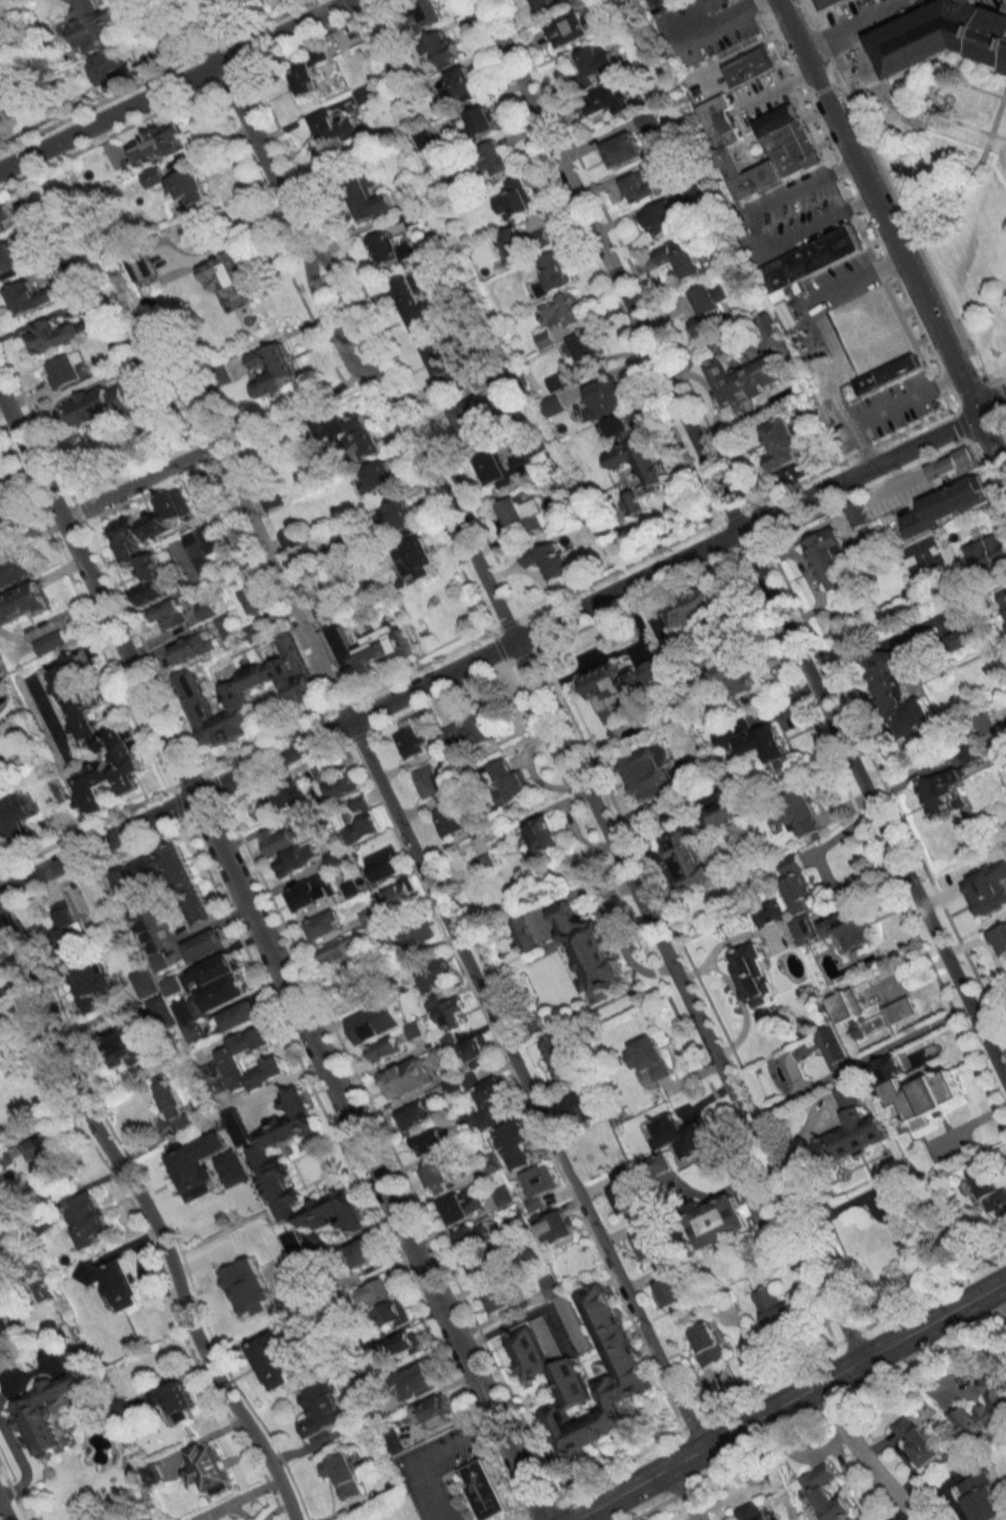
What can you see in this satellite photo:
building: (972, 0)
building: (831, 2)
building: (275, 4)
building: (545, 4)
building: (716, 4)
building: (428, 12)
road: (701, 15)
road: (726, 22)
road: (850, 24)
building: (92, 25)
building: (574, 27)
building: (942, 33)
building: (443, 47)
road: (744, 49)
building: (593, 64)
building: (748, 66)
building: (109, 67)
building: (306, 71)
road: (175, 84)
building: (460, 86)
road: (774, 91)
building: (367, 93)
building: (615, 98)
building: (481, 121)
building: (647, 121)
building: (333, 127)
building: (155, 142)
building: (623, 149)
building: (793, 153)
building: (494, 158)
building: (394, 171)
building: (152, 177)
building: (638, 186)
building: (188, 188)
road: (889, 191)
building: (368, 198)
building: (514, 199)
building: (3, 216)
building: (412, 219)
building: (660, 219)
road: (759, 223)
road: (892, 238)
building: (524, 242)
building: (390, 249)
building: (12, 257)
building: (684, 258)
building: (808, 261)
building: (553, 273)
building: (231, 275)
building: (29, 297)
building: (414, 302)
building: (706, 309)
building: (565, 310)
building: (772, 323)
building: (52, 335)
road: (826, 335)
building: (586, 346)
building: (874, 350)
building: (442, 363)
building: (272, 369)
building: (67, 370)
road: (996, 375)
building: (745, 379)
road: (998, 389)
building: (605, 397)
road: (990, 401)
building: (99, 403)
road: (1003, 417)
building: (470, 422)
building: (363, 438)
building: (780, 444)
building: (634, 460)
building: (520, 461)
building: (952, 465)
building: (494, 471)
building: (376, 479)
road: (126, 488)
building: (271, 498)
building: (947, 504)
building: (521, 513)
building: (398, 520)
building: (4, 532)
building: (289, 538)
road: (742, 542)
building: (127, 545)
building: (201, 549)
building: (842, 549)
building: (987, 551)
building: (417, 558)
building: (552, 560)
building: (15, 570)
road: (278, 578)
building: (314, 592)
building: (254, 599)
building: (22, 603)
building: (1004, 604)
building: (697, 607)
building: (208, 609)
building: (168, 615)
building: (228, 625)
building: (254, 632)
building: (964, 637)
building: (50, 642)
building: (192, 648)
building: (366, 650)
road: (488, 653)
building: (664, 666)
road: (529, 675)
building: (735, 677)
building: (612, 689)
building: (301, 690)
building: (898, 696)
building: (53, 716)
building: (92, 730)
building: (468, 732)
building: (411, 741)
building: (756, 743)
building: (973, 750)
building: (1, 764)
building: (322, 772)
building: (648, 774)
building: (430, 782)
building: (510, 783)
building: (343, 787)
building: (945, 793)
building: (290, 795)
building: (718, 812)
building: (801, 812)
building: (14, 817)
building: (448, 820)
building: (362, 822)
building: (543, 835)
building: (276, 841)
building: (490, 846)
building: (334, 856)
building: (296, 859)
building: (687, 859)
building: (470, 862)
building: (384, 864)
building: (158, 871)
building: (797, 885)
building: (987, 887)
building: (310, 893)
building: (400, 894)
building: (200, 911)
building: (770, 913)
building: (368, 916)
building: (67, 923)
building: (324, 925)
building: (849, 928)
building: (805, 931)
building: (417, 932)
building: (523, 933)
building: (999, 941)
building: (205, 945)
building: (338, 950)
building: (590, 953)
road: (272, 958)
building: (213, 970)
building: (435, 973)
building: (754, 976)
building: (353, 982)
building: (89, 986)
building: (224, 993)
building: (899, 1011)
building: (450, 1014)
building: (239, 1016)
building: (167, 1017)
building: (187, 1021)
building: (377, 1022)
building: (863, 1029)
building: (6, 1033)
building: (127, 1044)
building: (384, 1049)
building: (477, 1050)
building: (559, 1055)
building: (649, 1057)
building: (443, 1062)
building: (226, 1063)
building: (406, 1078)
building: (461, 1083)
road: (525, 1084)
building: (917, 1089)
road: (792, 1093)
building: (491, 1100)
building: (173, 1106)
building: (577, 1108)
building: (417, 1114)
building: (468, 1118)
building: (237, 1127)
building: (855, 1127)
building: (520, 1134)
building: (679, 1135)
building: (431, 1139)
building: (44, 1151)
building: (197, 1165)
building: (271, 1165)
building: (658, 1166)
building: (436, 1177)
building: (540, 1185)
building: (989, 1186)
road: (874, 1190)
building: (503, 1195)
building: (624, 1198)
building: (462, 1205)
road: (149, 1218)
building: (89, 1219)
building: (722, 1221)
building: (559, 1229)
building: (474, 1236)
building: (646, 1245)
building: (296, 1249)
building: (362, 1252)
building: (532, 1254)
building: (484, 1268)
building: (115, 1282)
building: (550, 1287)
building: (668, 1287)
building: (375, 1293)
building: (500, 1300)
building: (774, 1309)
building: (391, 1315)
building: (4, 1319)
building: (571, 1323)
road: (988, 1331)
building: (708, 1344)
building: (404, 1346)
building: (275, 1356)
building: (550, 1368)
building: (415, 1382)
building: (173, 1398)
road: (786, 1399)
building: (30, 1405)
building: (985, 1407)
building: (322, 1408)
building: (435, 1410)
building: (392, 1440)
building: (916, 1440)
road: (862, 1455)
road: (436, 1457)
building: (209, 1468)
building: (343, 1474)
building: (486, 1490)
road: (685, 1491)
building: (826, 1493)
building: (981, 1498)
road: (661, 1506)
building: (752, 1511)
road: (2, 1514)

